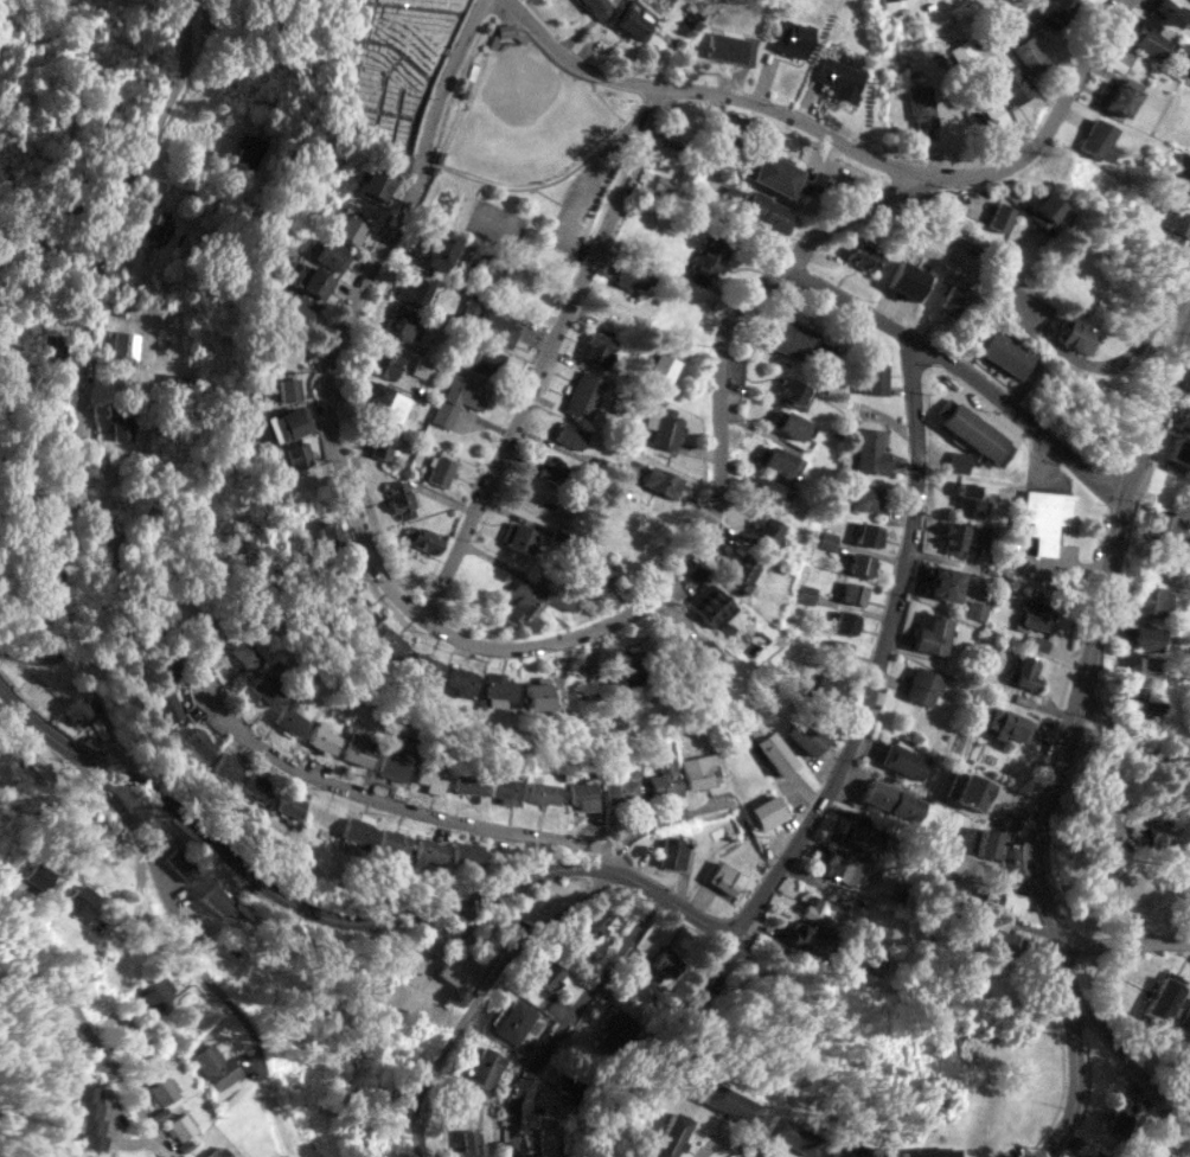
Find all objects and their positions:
building: (885, 1)
building: (597, 7)
building: (1165, 9)
building: (1053, 13)
building: (634, 19)
building: (1147, 37)
building: (792, 38)
building: (725, 46)
building: (749, 51)
building: (1029, 53)
building: (964, 55)
building: (1189, 68)
park: (389, 69)
building: (839, 77)
building: (1012, 84)
road: (717, 95)
building: (1120, 95)
building: (921, 104)
building: (989, 113)
park: (525, 117)
road: (1055, 117)
building: (680, 126)
building: (1096, 139)
building: (248, 152)
park: (526, 153)
building: (786, 177)
road: (558, 178)
building: (376, 181)
building: (654, 184)
road: (584, 191)
road: (555, 198)
building: (1043, 209)
building: (767, 210)
building: (1181, 213)
building: (998, 216)
building: (151, 222)
park: (494, 223)
building: (351, 225)
building: (440, 249)
building: (857, 253)
building: (333, 255)
building: (708, 258)
building: (632, 274)
building: (906, 277)
building: (315, 281)
building: (415, 290)
building: (951, 298)
building: (297, 308)
building: (401, 321)
building: (490, 321)
building: (1073, 333)
building: (798, 340)
road: (87, 341)
building: (126, 344)
building: (53, 345)
building: (597, 347)
building: (287, 350)
building: (1003, 352)
road: (548, 356)
road: (1127, 356)
building: (482, 359)
building: (384, 362)
building: (421, 369)
building: (660, 370)
road: (959, 373)
building: (872, 378)
building: (286, 389)
building: (792, 392)
building: (583, 394)
building: (386, 398)
building: (458, 398)
building: (1184, 418)
building: (120, 421)
building: (787, 423)
building: (283, 424)
building: (970, 430)
building: (666, 432)
building: (570, 434)
building: (383, 440)
building: (870, 450)
building: (1178, 450)
building: (296, 454)
building: (772, 459)
building: (958, 461)
building: (552, 467)
building: (436, 468)
building: (659, 480)
building: (761, 487)
building: (781, 497)
building: (868, 498)
building: (399, 499)
building: (970, 501)
building: (1044, 516)
building: (1166, 529)
building: (766, 532)
building: (865, 532)
building: (328, 535)
building: (517, 535)
building: (953, 535)
building: (423, 538)
building: (827, 539)
building: (862, 564)
building: (594, 571)
building: (738, 575)
building: (345, 582)
building: (941, 582)
building: (851, 593)
building: (561, 596)
building: (1150, 600)
building: (520, 605)
building: (711, 606)
building: (977, 609)
building: (360, 611)
building: (1035, 613)
building: (844, 621)
building: (686, 632)
building: (932, 633)
building: (1139, 637)
building: (390, 641)
building: (1038, 643)
road: (480, 645)
building: (837, 648)
building: (700, 652)
building: (245, 654)
building: (627, 664)
building: (423, 665)
building: (1139, 667)
building: (1024, 672)
building: (460, 680)
building: (923, 685)
building: (819, 686)
building: (265, 688)
building: (498, 689)
building: (542, 695)
building: (1141, 704)
building: (166, 705)
building: (78, 710)
road: (864, 711)
building: (289, 715)
building: (1005, 723)
building: (804, 735)
building: (321, 737)
building: (198, 742)
road: (1130, 742)
building: (769, 746)
building: (358, 748)
road: (1068, 749)
building: (38, 758)
building: (903, 760)
building: (392, 762)
building: (225, 766)
building: (698, 769)
building: (430, 776)
building: (664, 779)
building: (468, 781)
building: (256, 786)
building: (621, 786)
building: (505, 788)
building: (972, 791)
building: (543, 792)
building: (582, 795)
building: (890, 799)
building: (289, 805)
road: (401, 808)
building: (764, 811)
road: (657, 819)
building: (357, 831)
building: (857, 831)
building: (1158, 833)
building: (394, 840)
building: (990, 842)
building: (428, 851)
building: (466, 854)
building: (676, 854)
building: (180, 863)
building: (843, 864)
building: (43, 874)
building: (725, 877)
road: (279, 894)
building: (1131, 897)
building: (216, 899)
building: (81, 900)
building: (1004, 902)
building: (823, 910)
road: (177, 918)
building: (590, 926)
building: (1006, 941)
road: (1127, 941)
building: (456, 965)
building: (663, 966)
building: (706, 977)
building: (155, 989)
road: (569, 1018)
building: (514, 1021)
building: (615, 1028)
road: (87, 1029)
road: (439, 1061)
building: (213, 1065)
building: (484, 1068)
road: (1134, 1072)
building: (569, 1085)
building: (164, 1089)
building: (730, 1102)
building: (88, 1117)
building: (1117, 1120)
building: (180, 1125)
building: (791, 1133)
building: (670, 1134)
building: (471, 1143)
road: (729, 1143)
building: (857, 1151)
building: (929, 1152)
building: (286, 1156)
building: (1090, 1156)
building: (1092, 1156)

